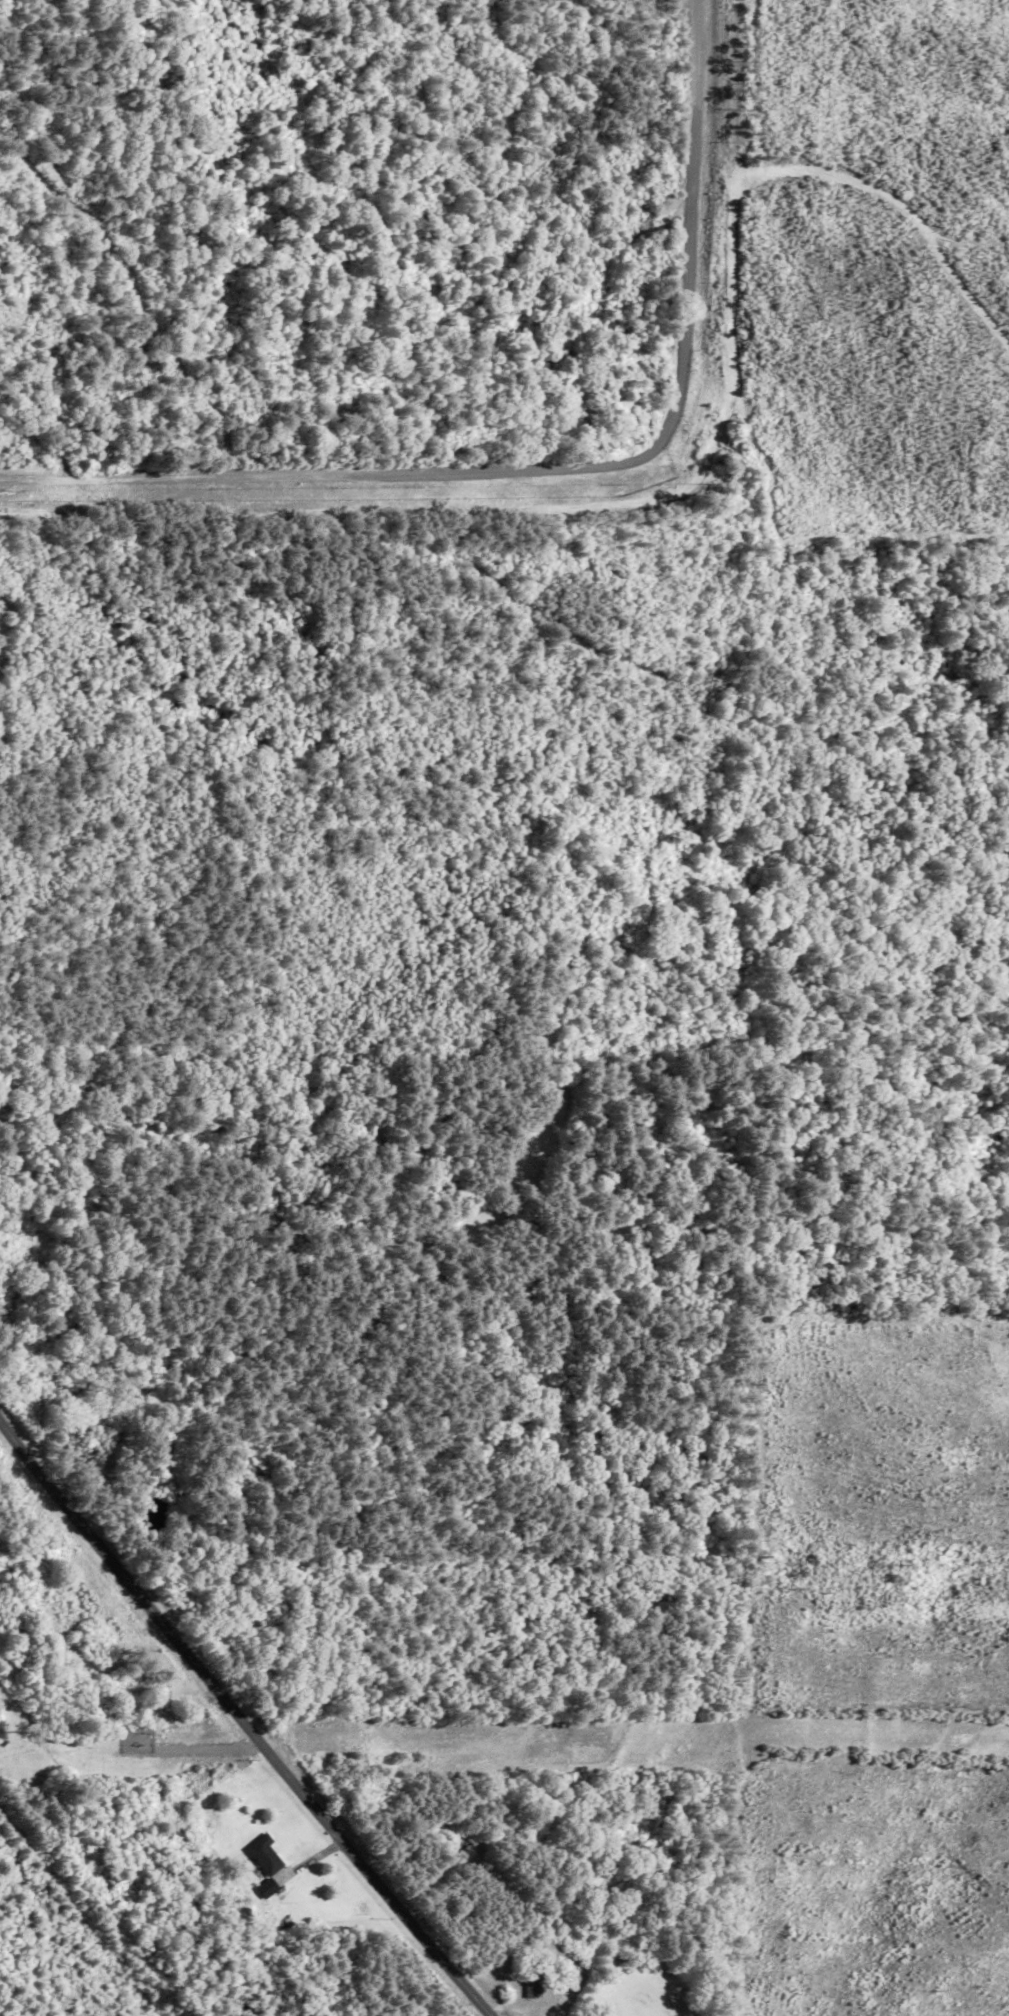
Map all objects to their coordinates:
road: (558, 464)
building: (67, 1390)
road: (243, 1721)
building: (454, 1833)
building: (264, 1855)
building: (266, 1889)
building: (531, 1984)

